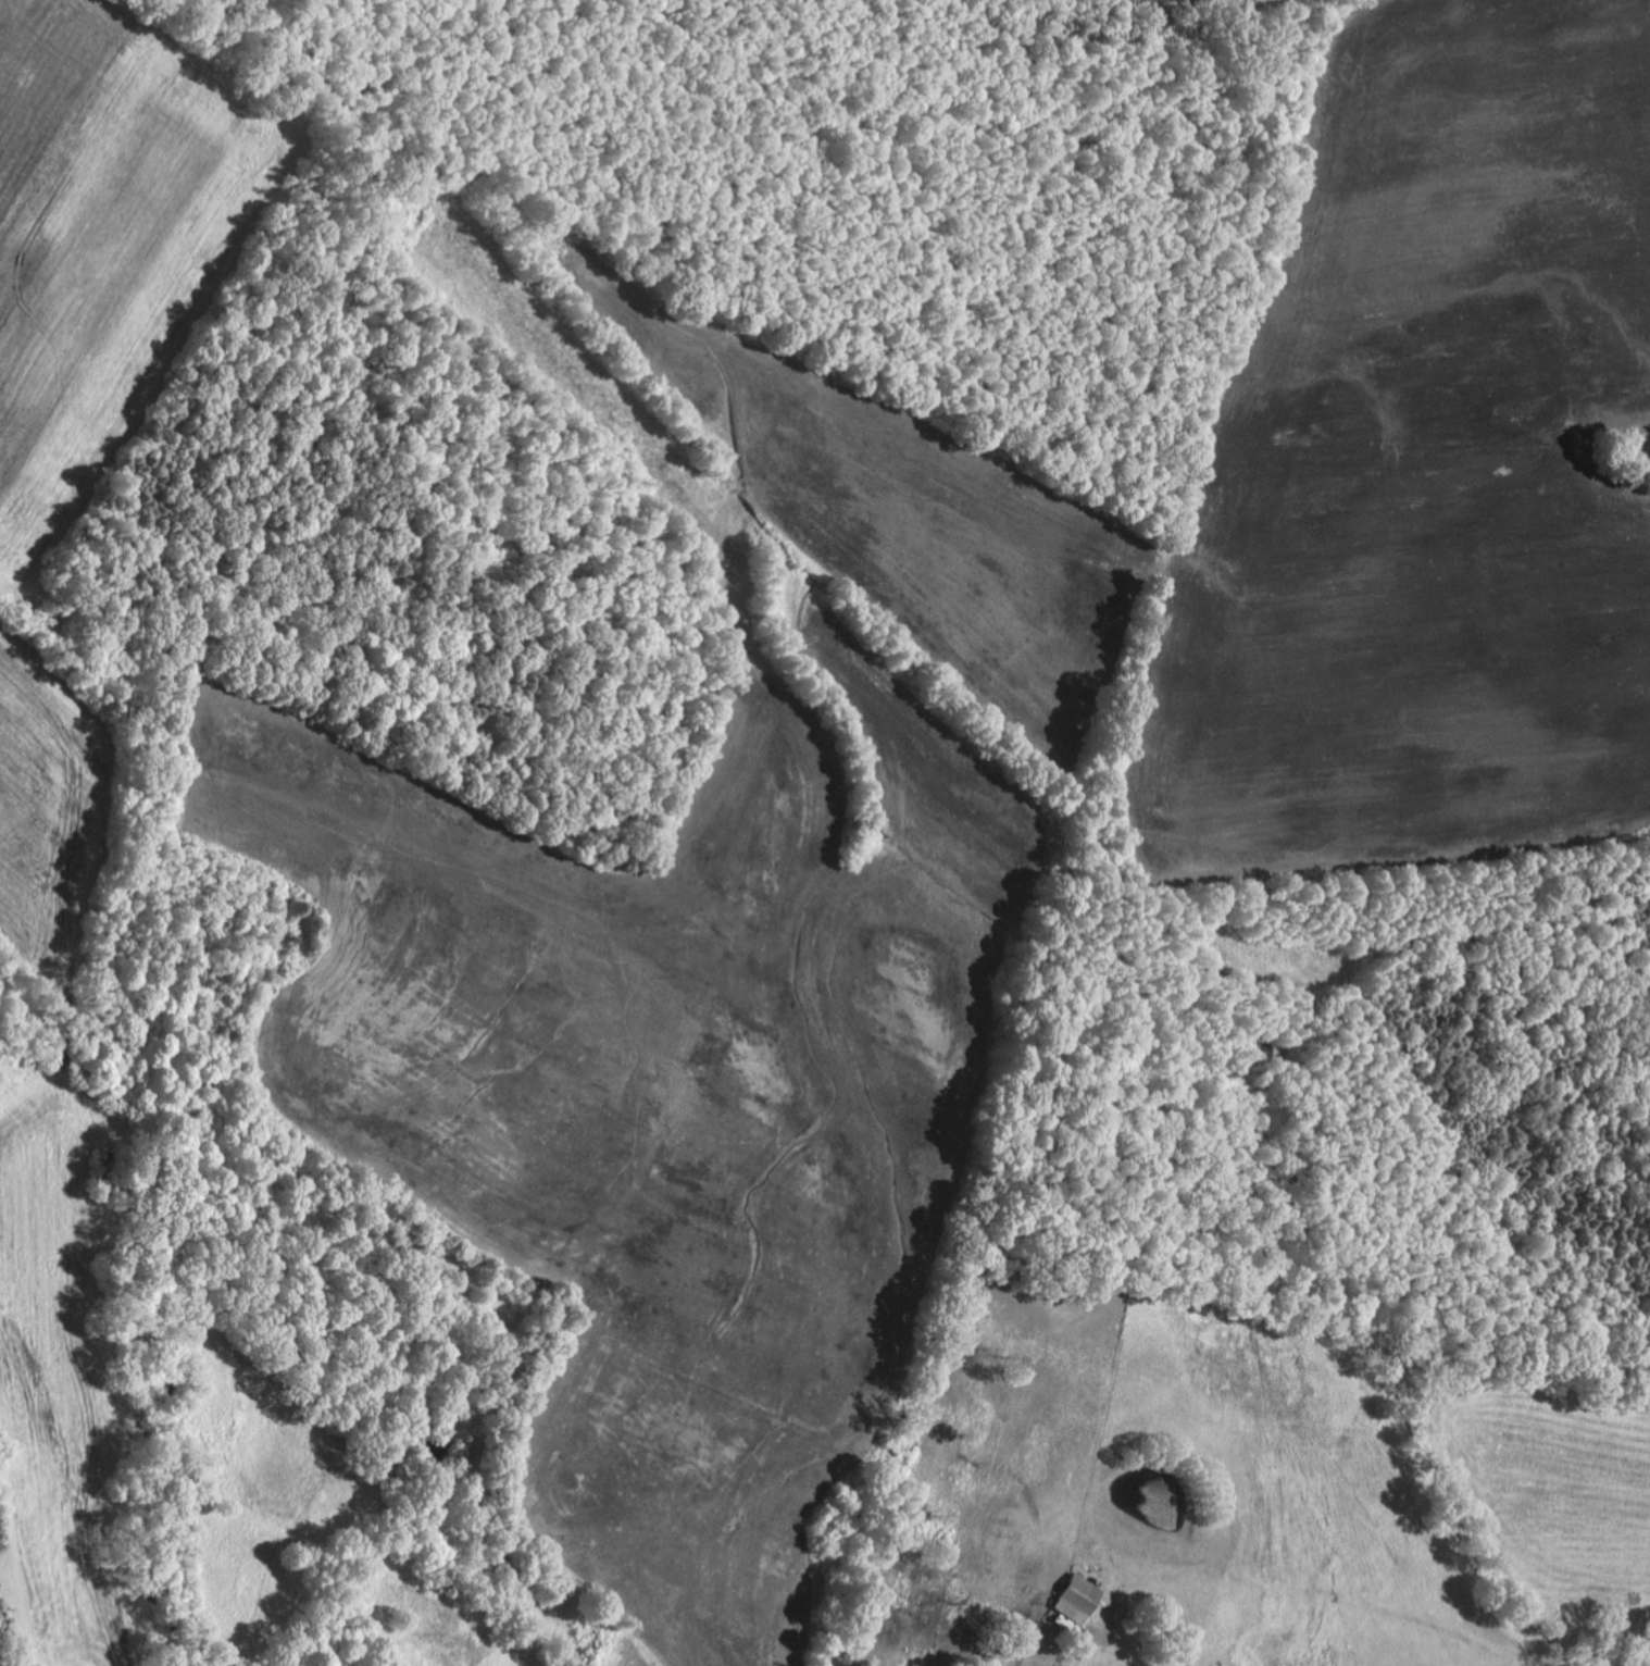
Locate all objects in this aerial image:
park: (1259, 12)
road: (799, 1358)
building: (1084, 1601)

